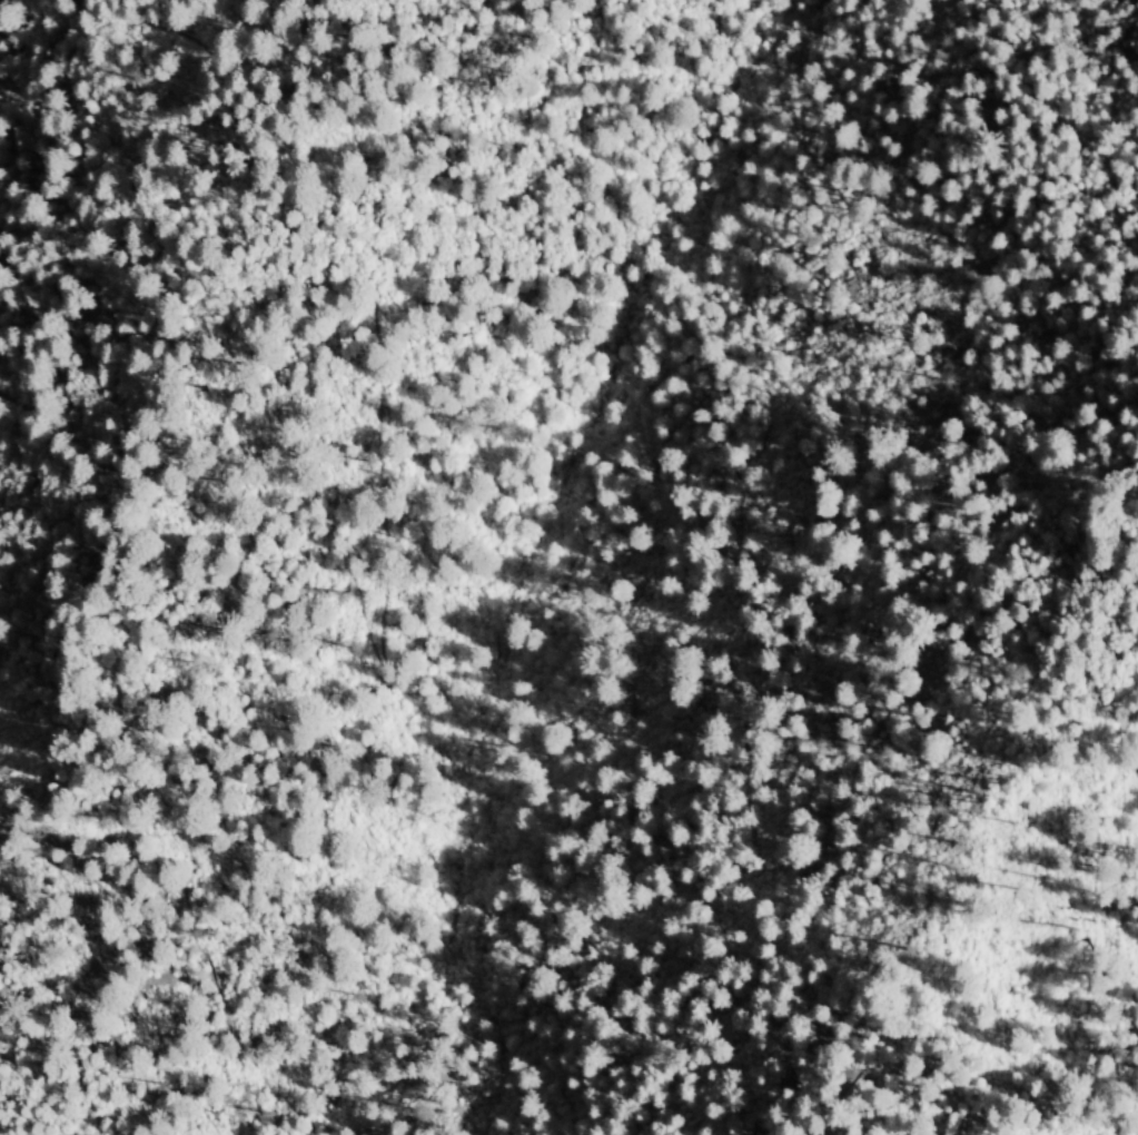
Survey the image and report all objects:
road: (175, 355)
road: (53, 1057)

